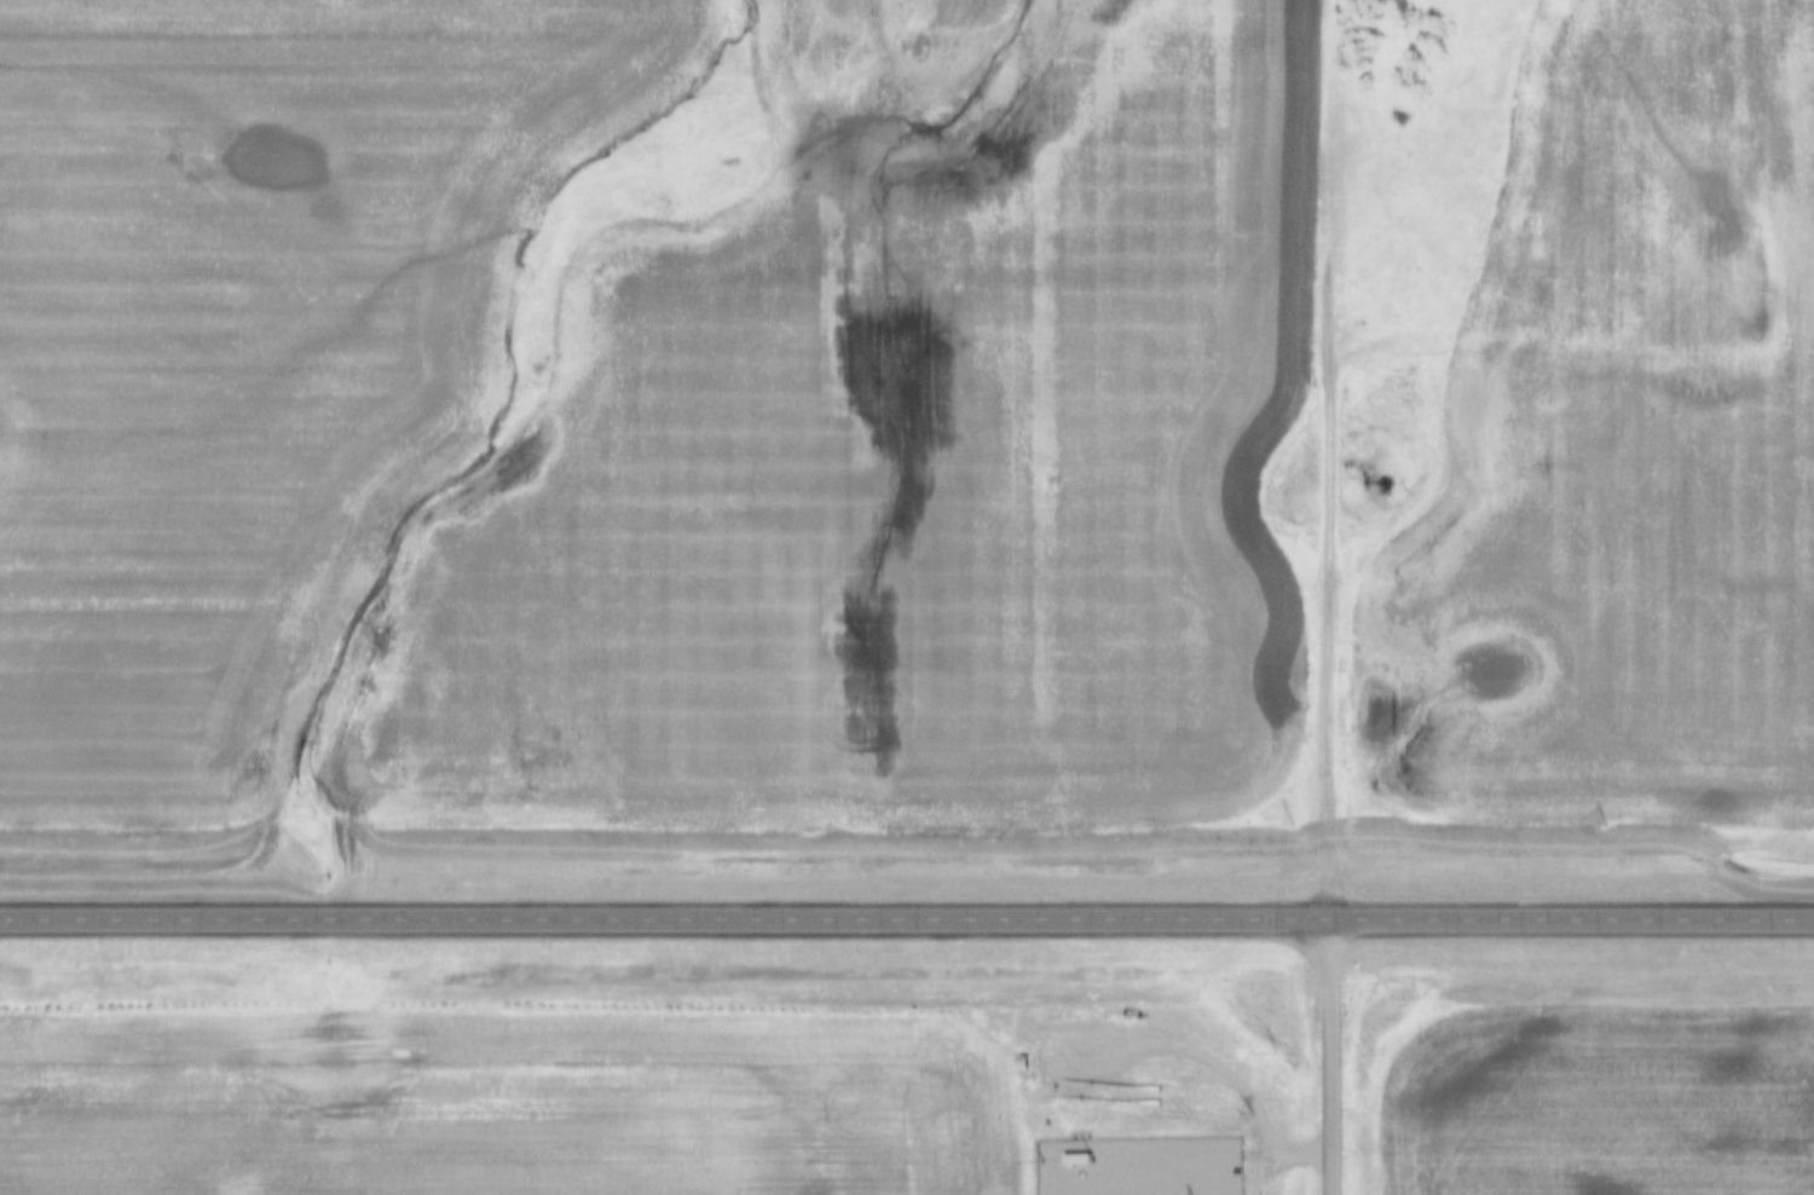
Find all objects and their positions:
road: (1331, 463)
road: (907, 923)
road: (1334, 1061)
building: (1024, 1064)
road: (1190, 1156)
building: (1080, 1161)
power substation: (1134, 1167)

